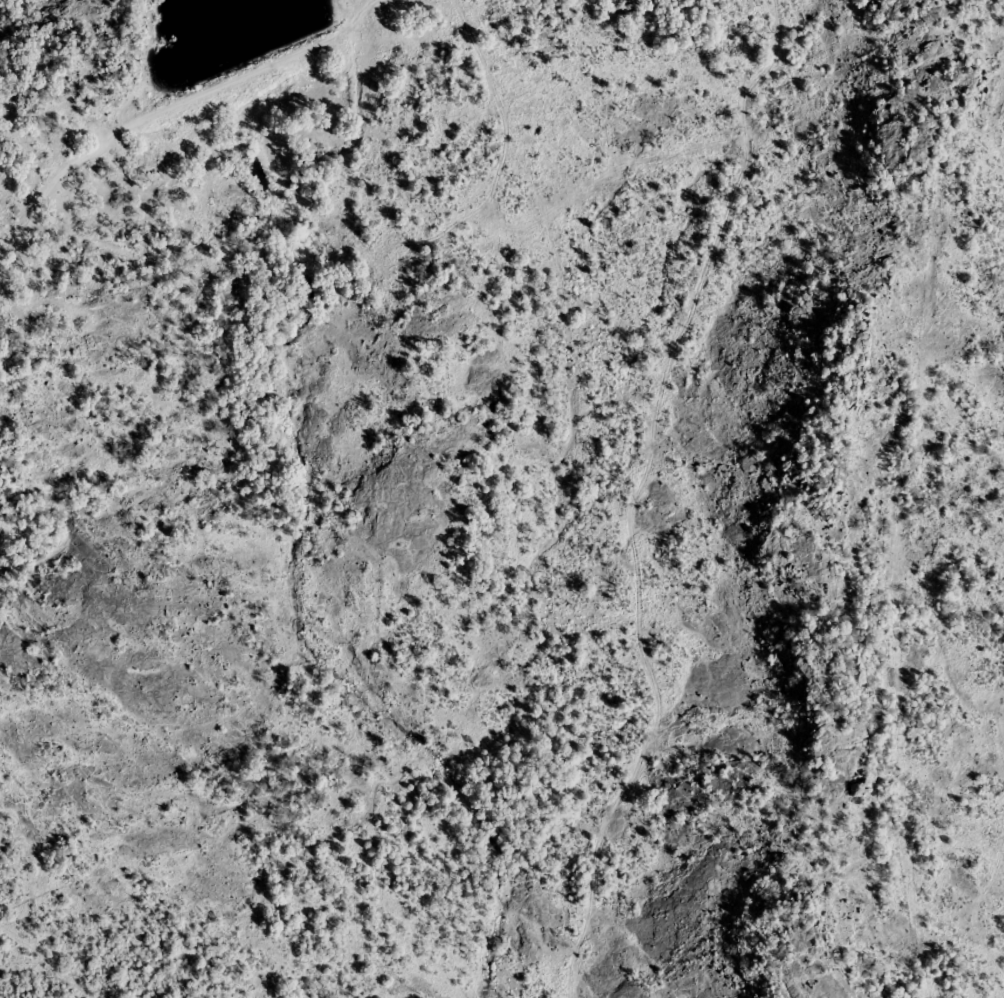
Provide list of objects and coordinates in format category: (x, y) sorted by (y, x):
road: (174, 105)

